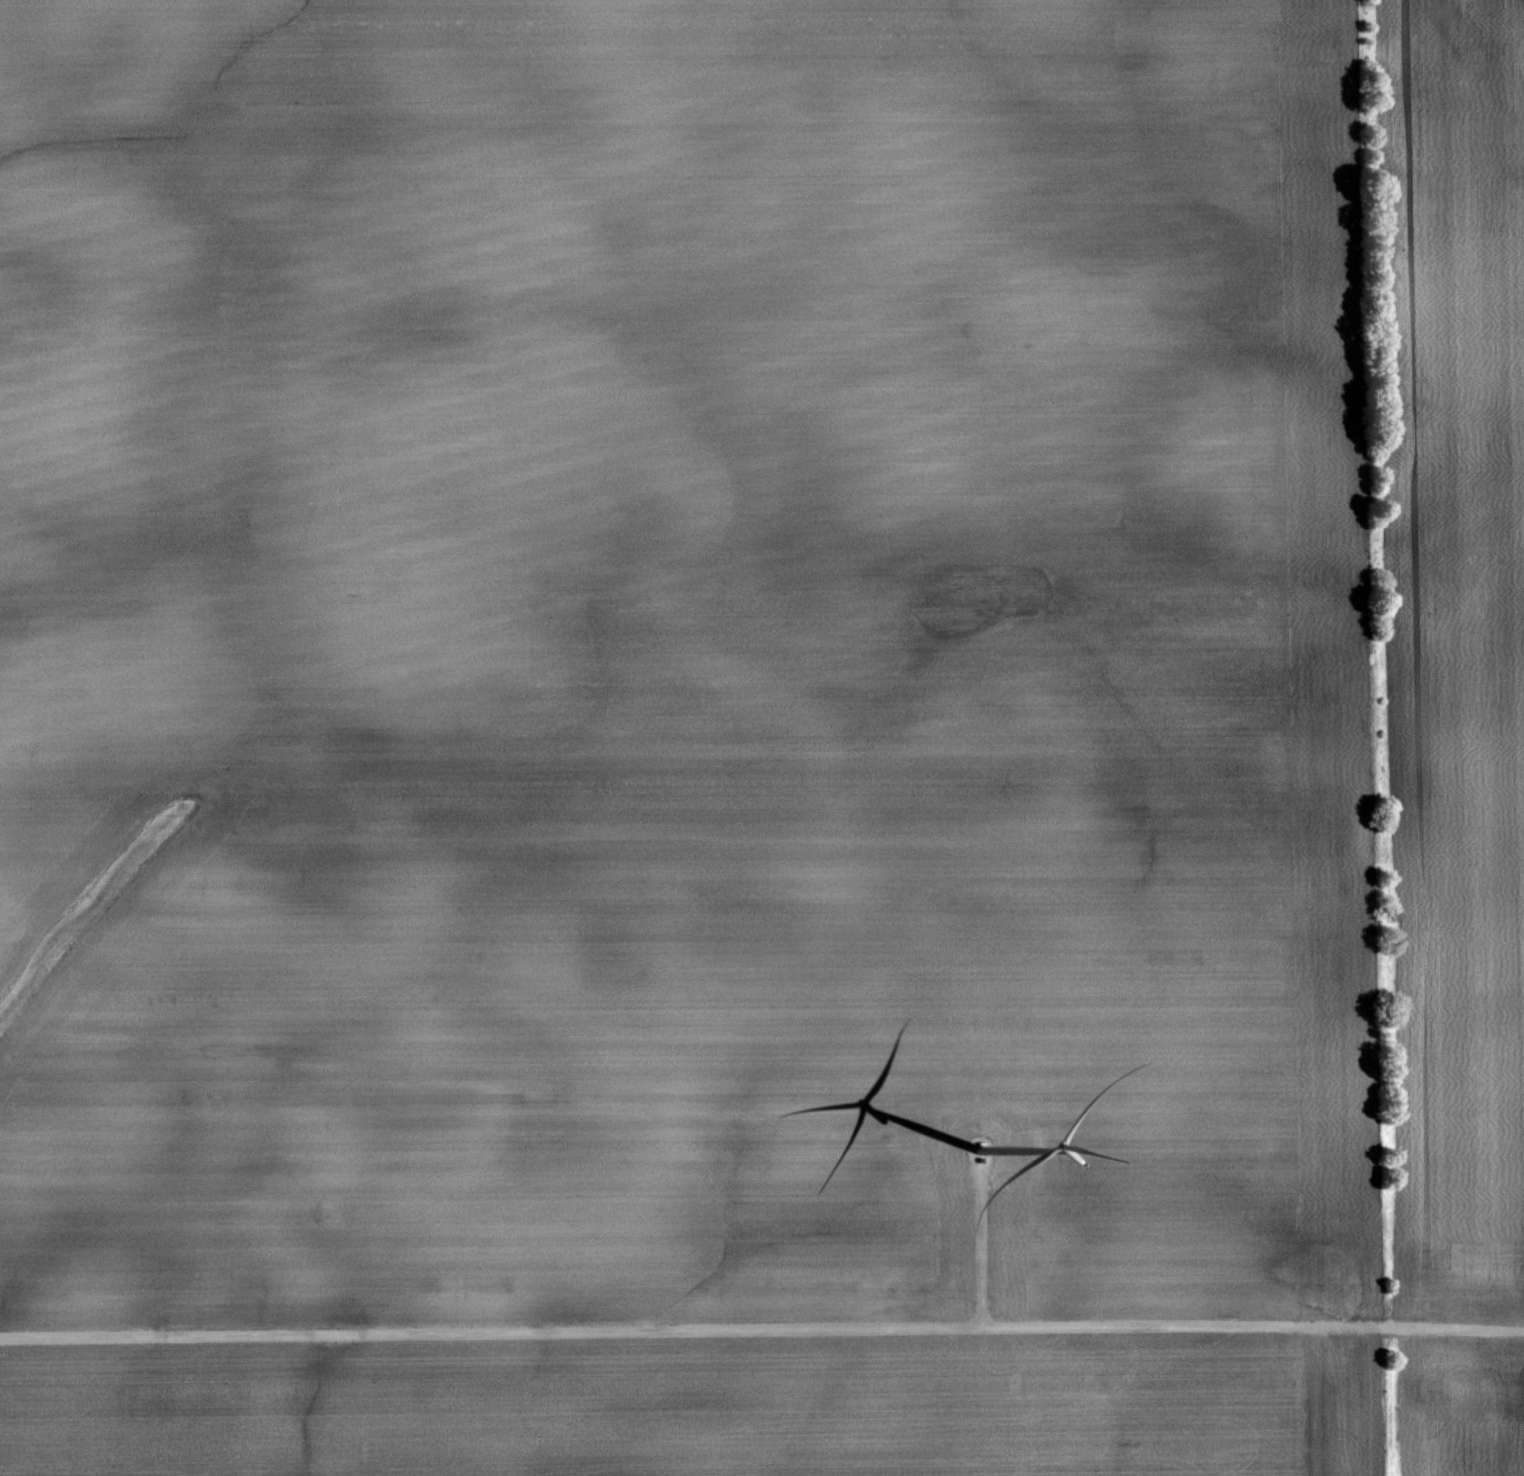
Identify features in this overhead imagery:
wind turbine: (987, 1150)
road: (981, 1248)
road: (762, 1330)

